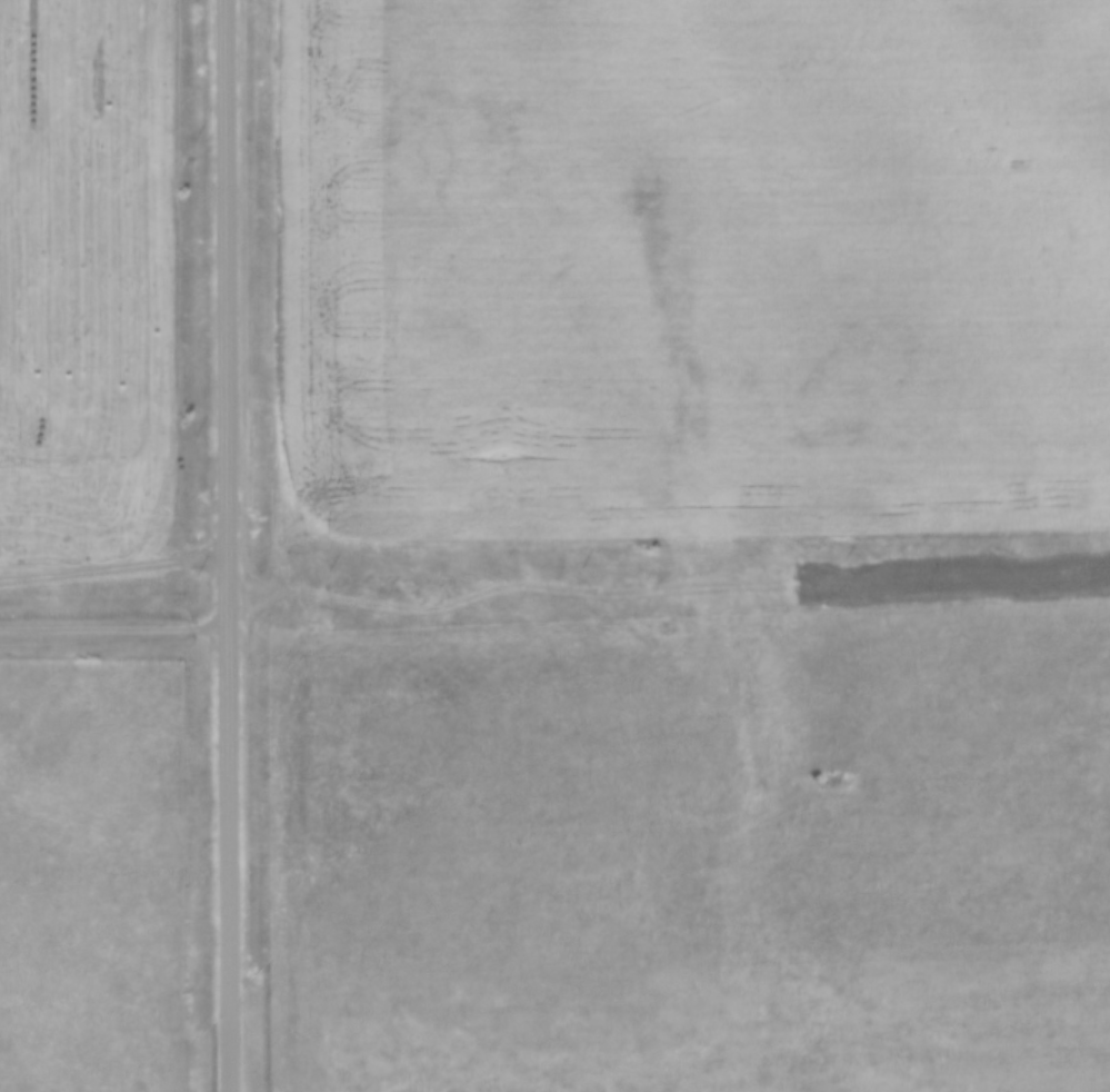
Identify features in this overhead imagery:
road: (223, 546)
road: (112, 563)
road: (111, 628)

